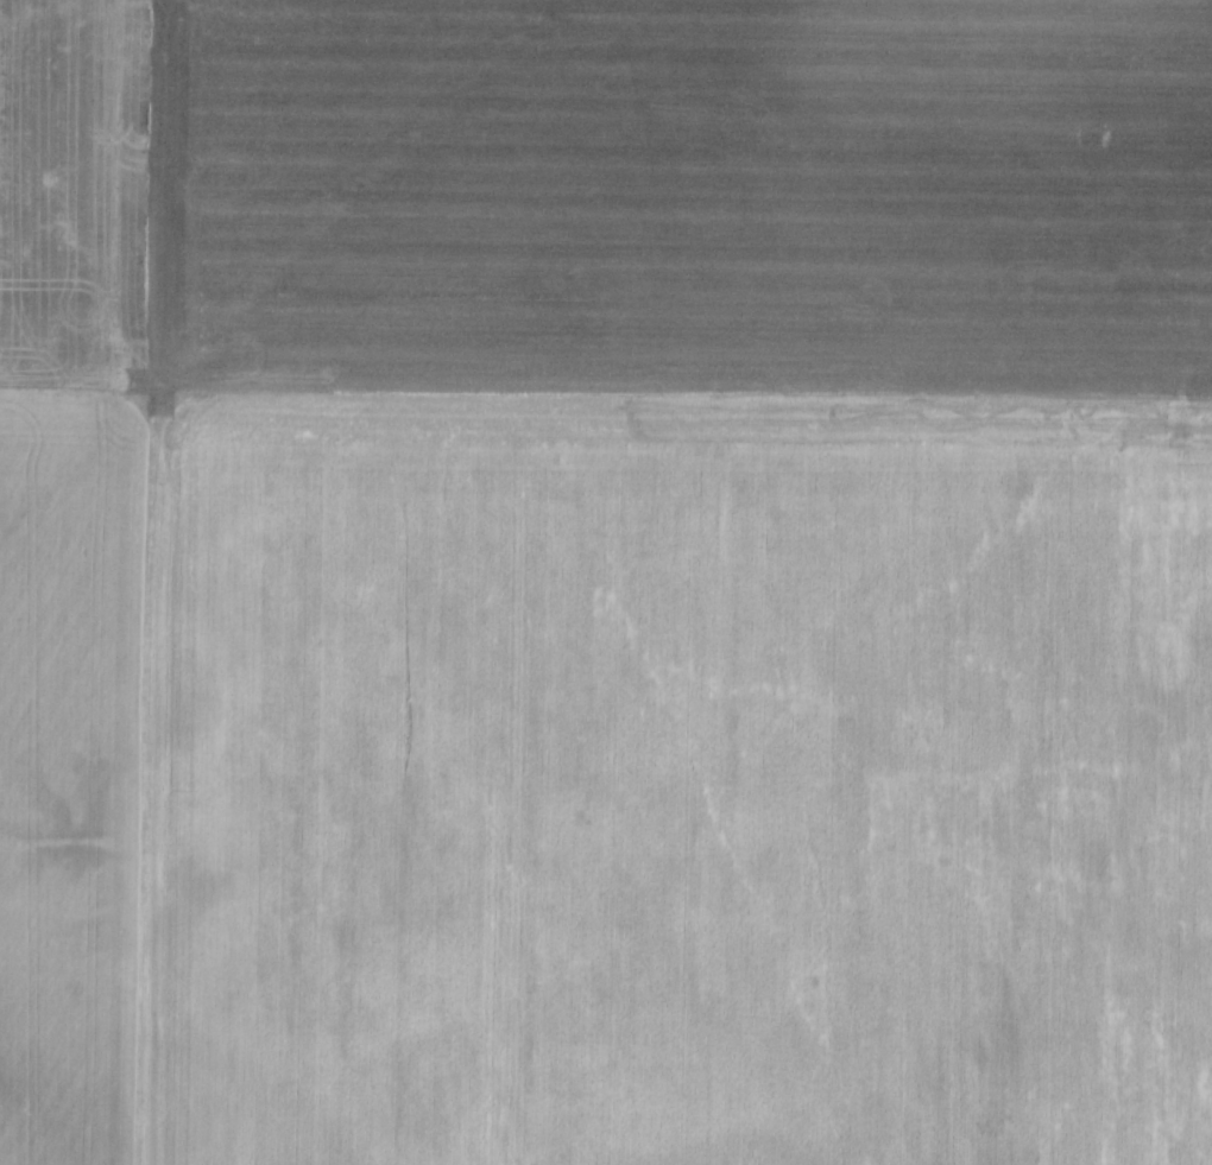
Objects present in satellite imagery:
crop: (606, 582)

